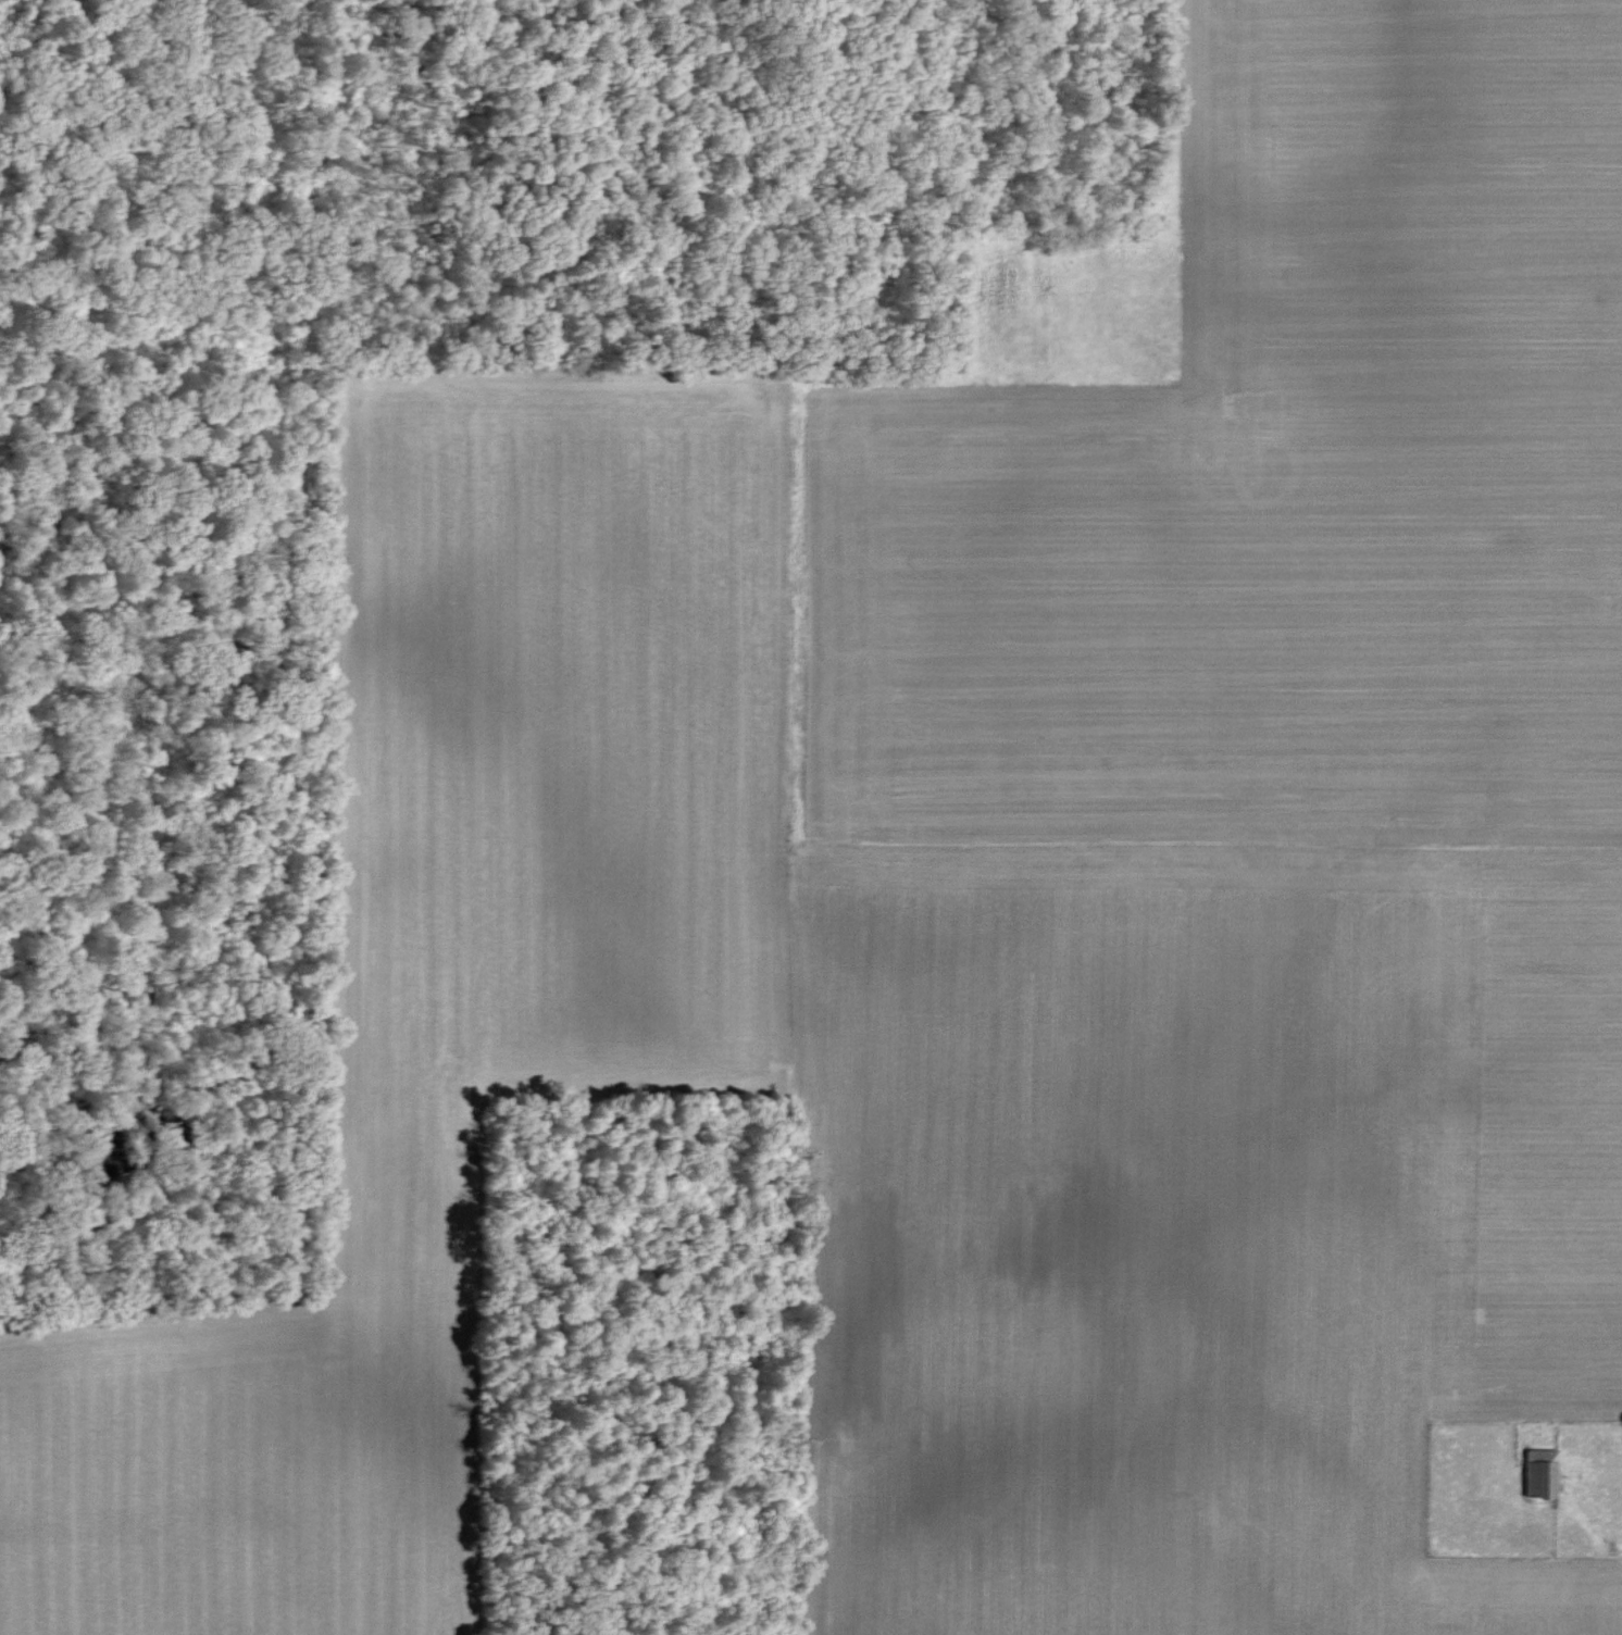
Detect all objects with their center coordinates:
building: (1540, 1472)

